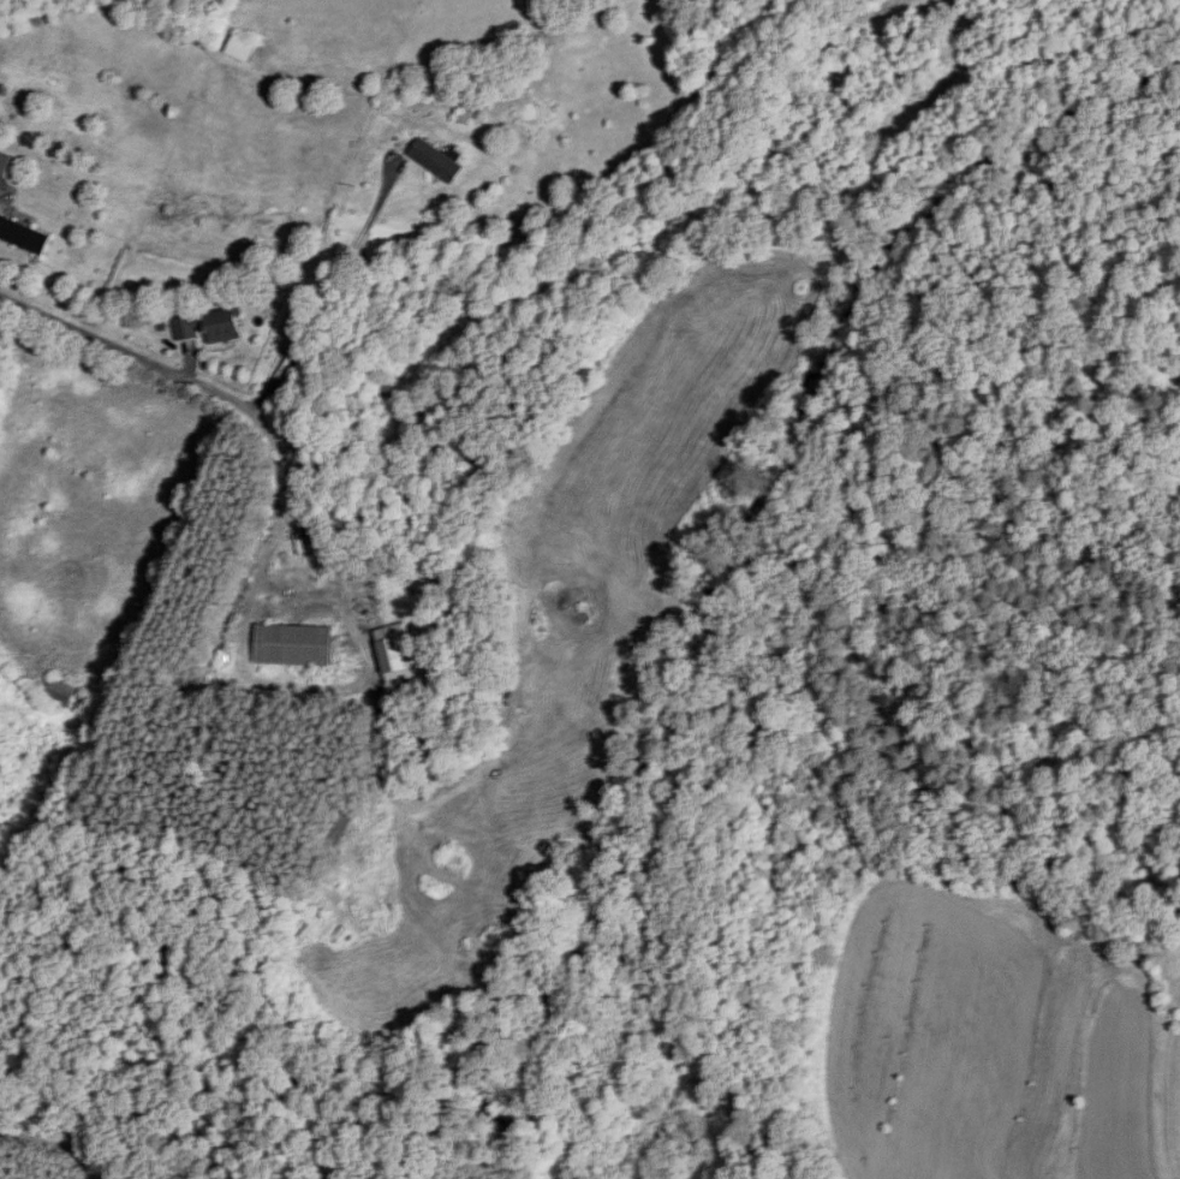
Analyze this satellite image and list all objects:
building: (242, 49)
building: (436, 161)
building: (5, 163)
building: (24, 234)
road: (330, 291)
building: (221, 326)
building: (187, 327)
road: (148, 357)
building: (294, 644)
building: (398, 653)
building: (61, 692)

